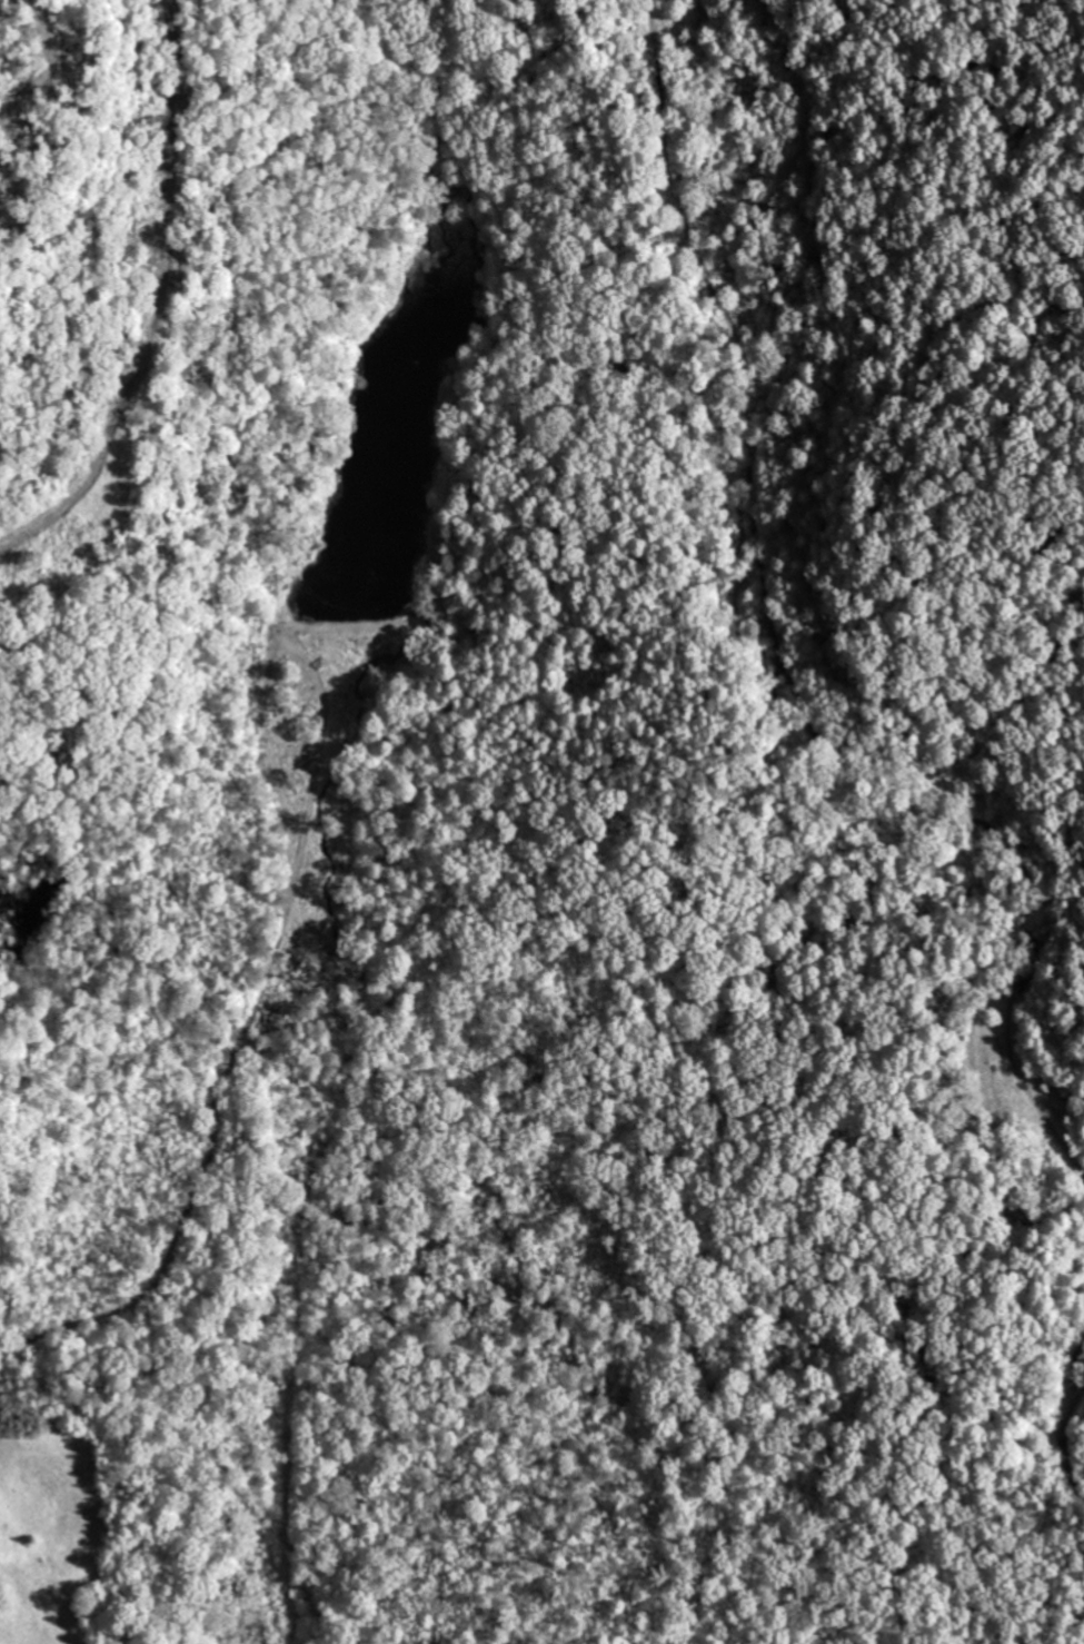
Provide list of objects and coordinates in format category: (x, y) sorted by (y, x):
road: (221, 1103)

